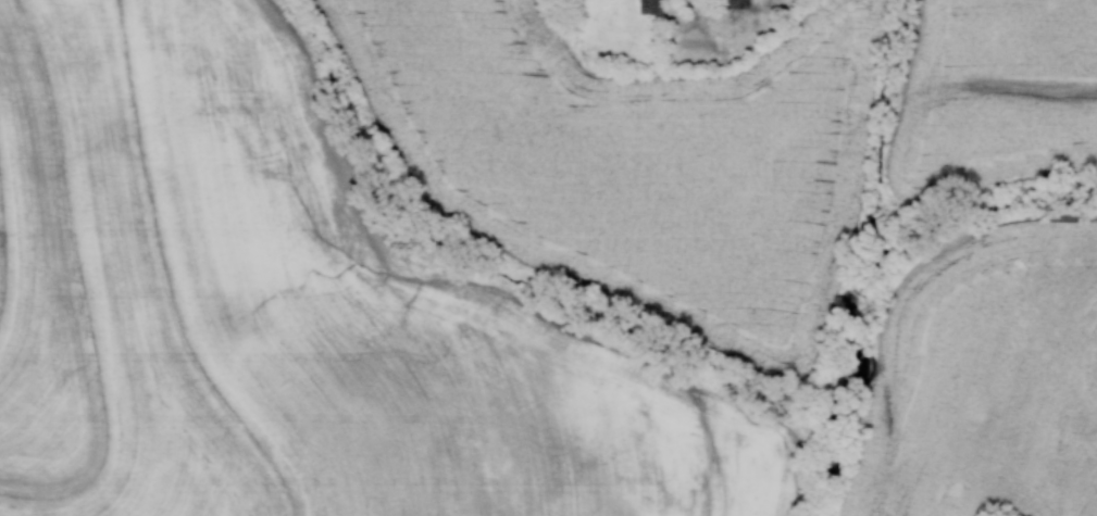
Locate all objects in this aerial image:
building: (728, 3)
building: (647, 5)

